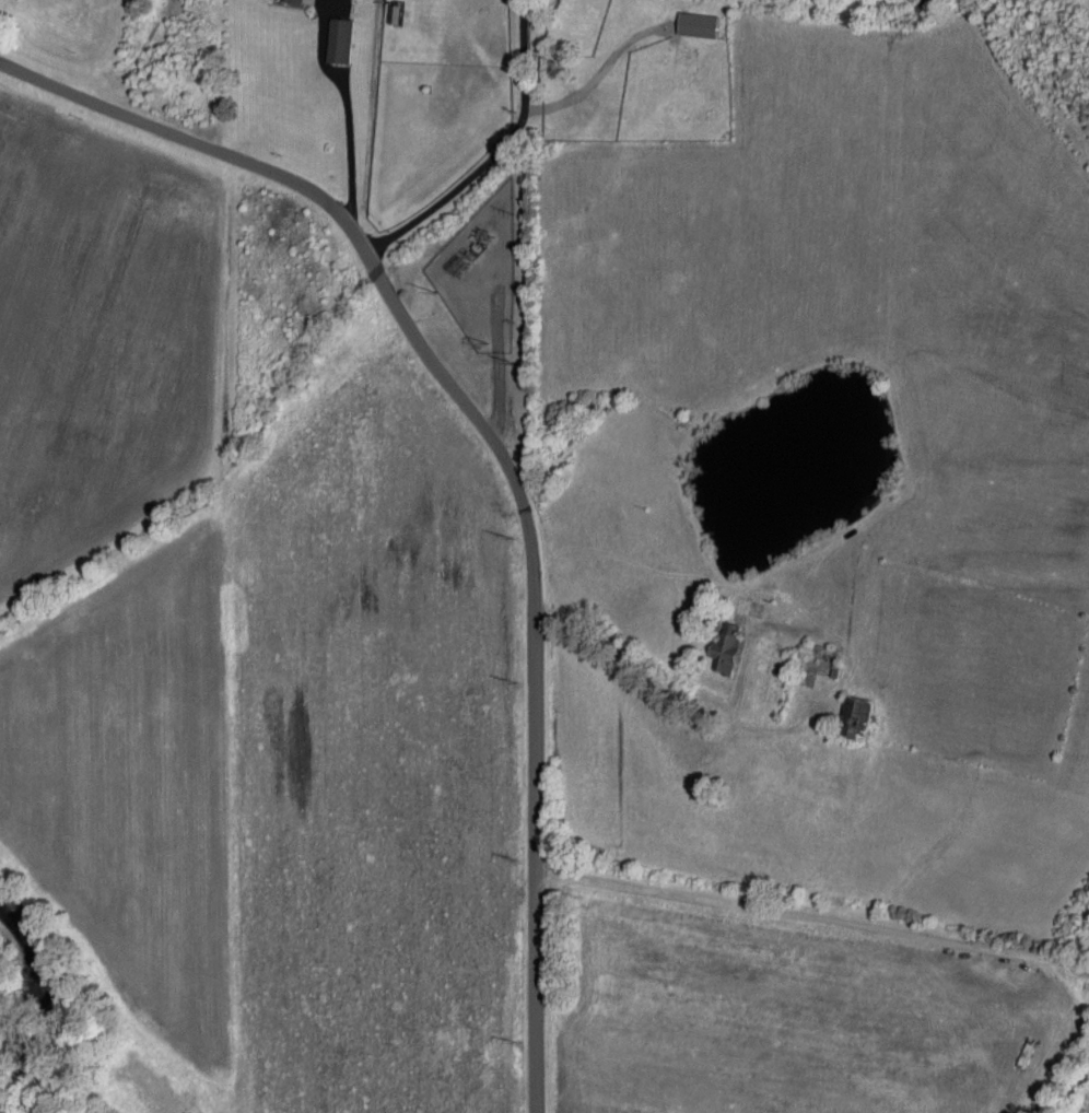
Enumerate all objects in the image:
building: (293, 1)
building: (700, 25)
building: (341, 40)
road: (356, 149)
road: (494, 151)
road: (502, 453)
building: (727, 649)
building: (856, 717)
road: (813, 917)
river: (57, 1003)

